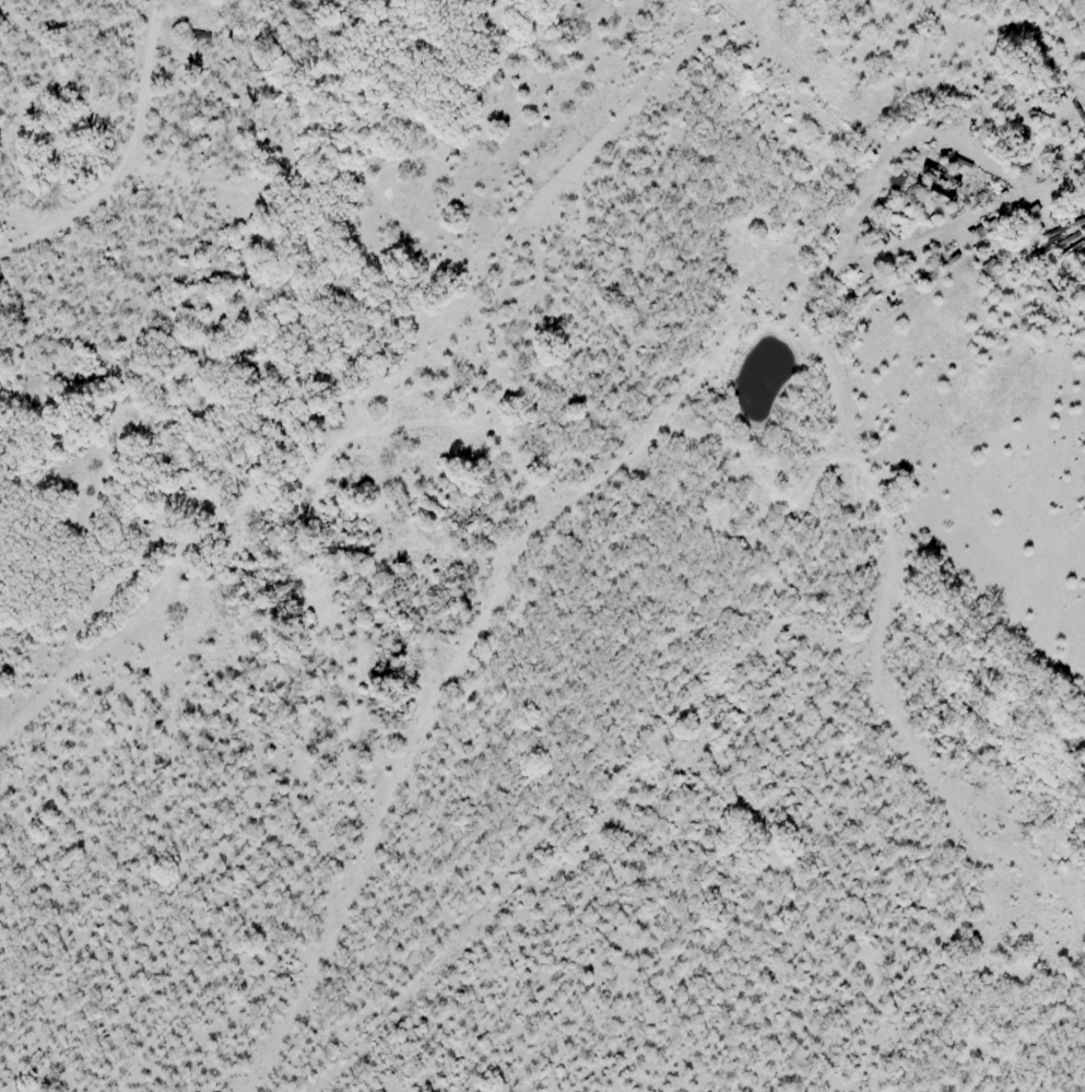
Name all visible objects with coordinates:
building: (931, 179)
building: (1076, 232)

